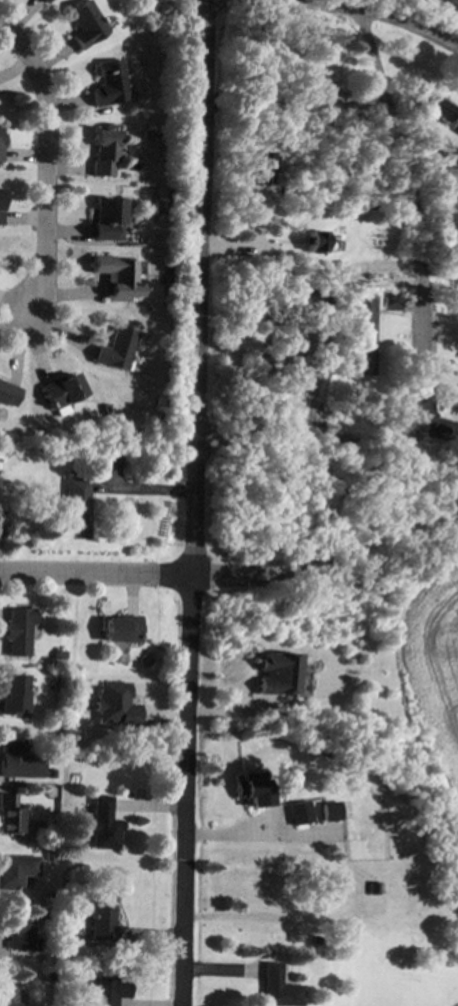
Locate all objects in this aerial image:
building: (42, 1)
road: (356, 8)
road: (444, 9)
park: (432, 12)
building: (84, 24)
building: (109, 84)
building: (319, 94)
building: (436, 108)
building: (455, 127)
building: (2, 142)
building: (108, 151)
road: (51, 163)
building: (258, 169)
building: (2, 205)
building: (160, 208)
building: (110, 218)
building: (313, 241)
building: (118, 276)
building: (309, 301)
building: (391, 301)
road: (424, 325)
building: (363, 338)
building: (305, 342)
building: (116, 350)
building: (284, 366)
building: (61, 392)
building: (7, 396)
building: (268, 397)
building: (106, 409)
building: (156, 420)
building: (132, 434)
road: (194, 503)
building: (73, 508)
building: (1, 525)
building: (0, 536)
road: (235, 576)
building: (120, 629)
building: (15, 630)
building: (56, 655)
building: (277, 673)
crop: (437, 676)
building: (11, 695)
building: (112, 705)
building: (18, 761)
building: (349, 764)
building: (50, 773)
building: (253, 789)
building: (329, 810)
building: (10, 812)
building: (298, 813)
building: (102, 824)
road: (257, 837)
building: (48, 856)
building: (16, 870)
building: (374, 886)
building: (100, 918)
building: (16, 933)
building: (264, 953)
road: (217, 965)
building: (49, 976)
building: (277, 987)
building: (106, 990)
building: (8, 997)

